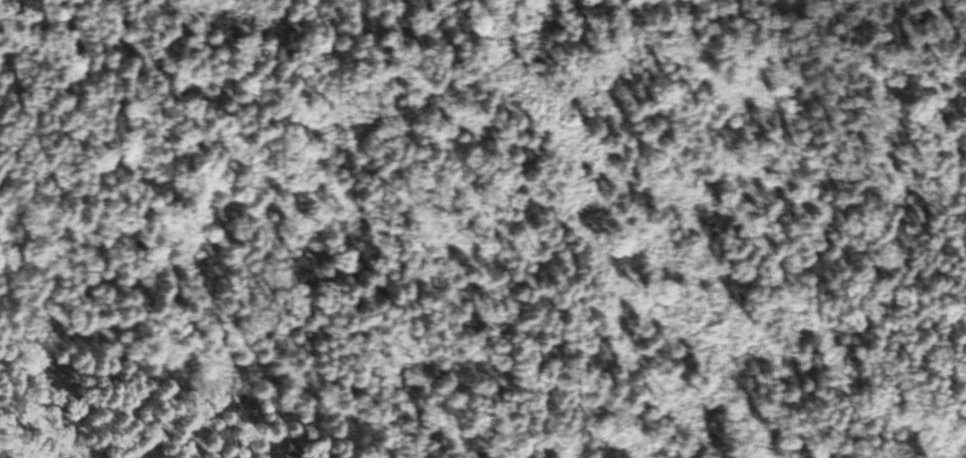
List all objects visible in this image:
road: (312, 129)

